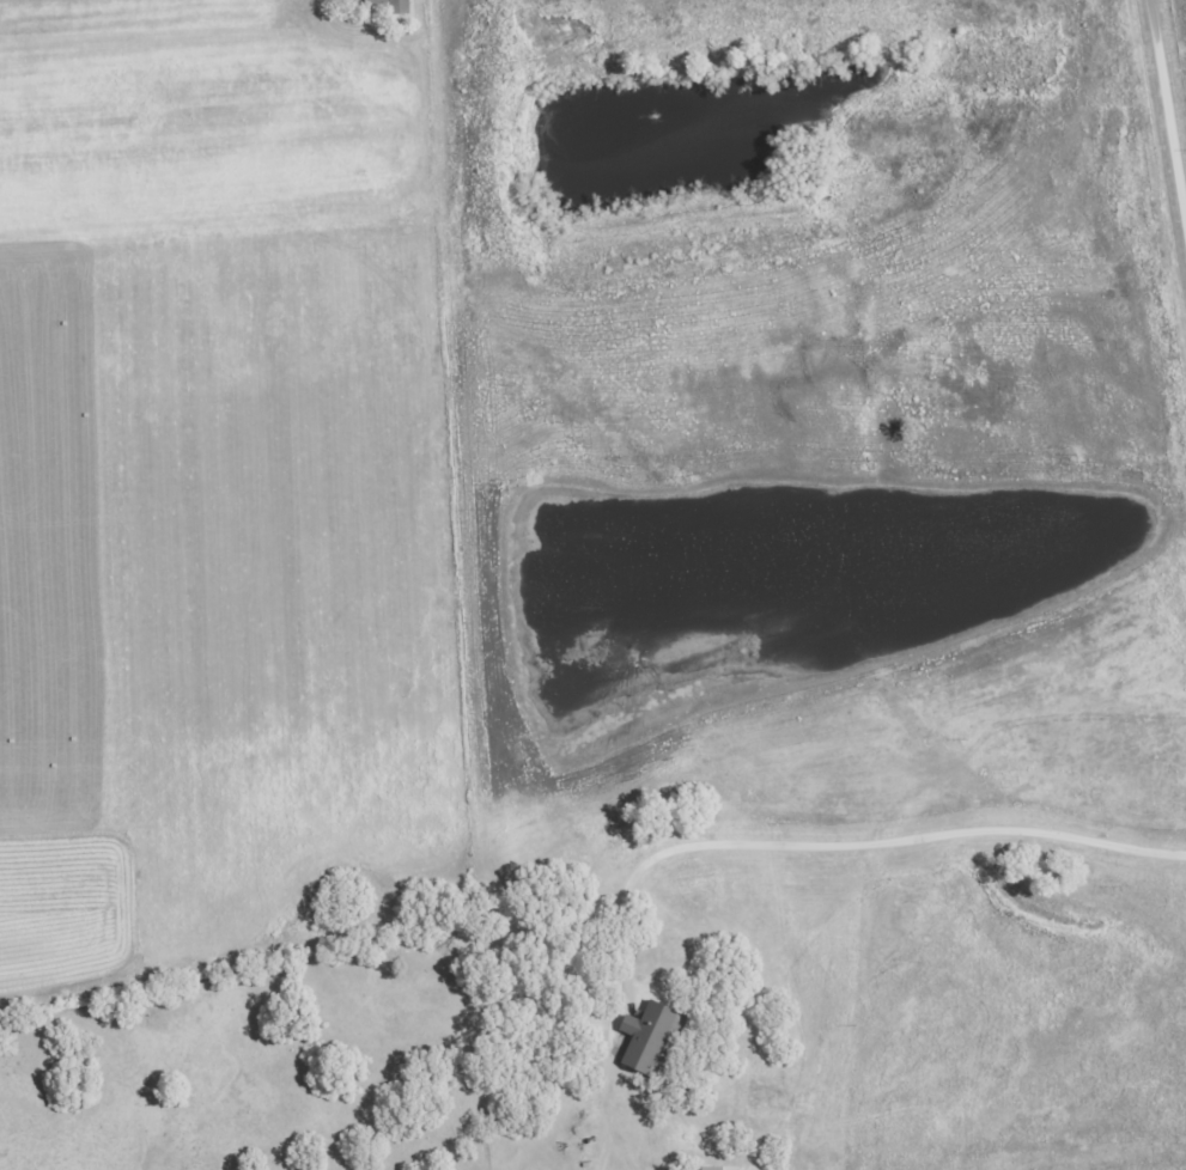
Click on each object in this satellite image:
building: (383, 6)
road: (1169, 100)
building: (645, 1038)

